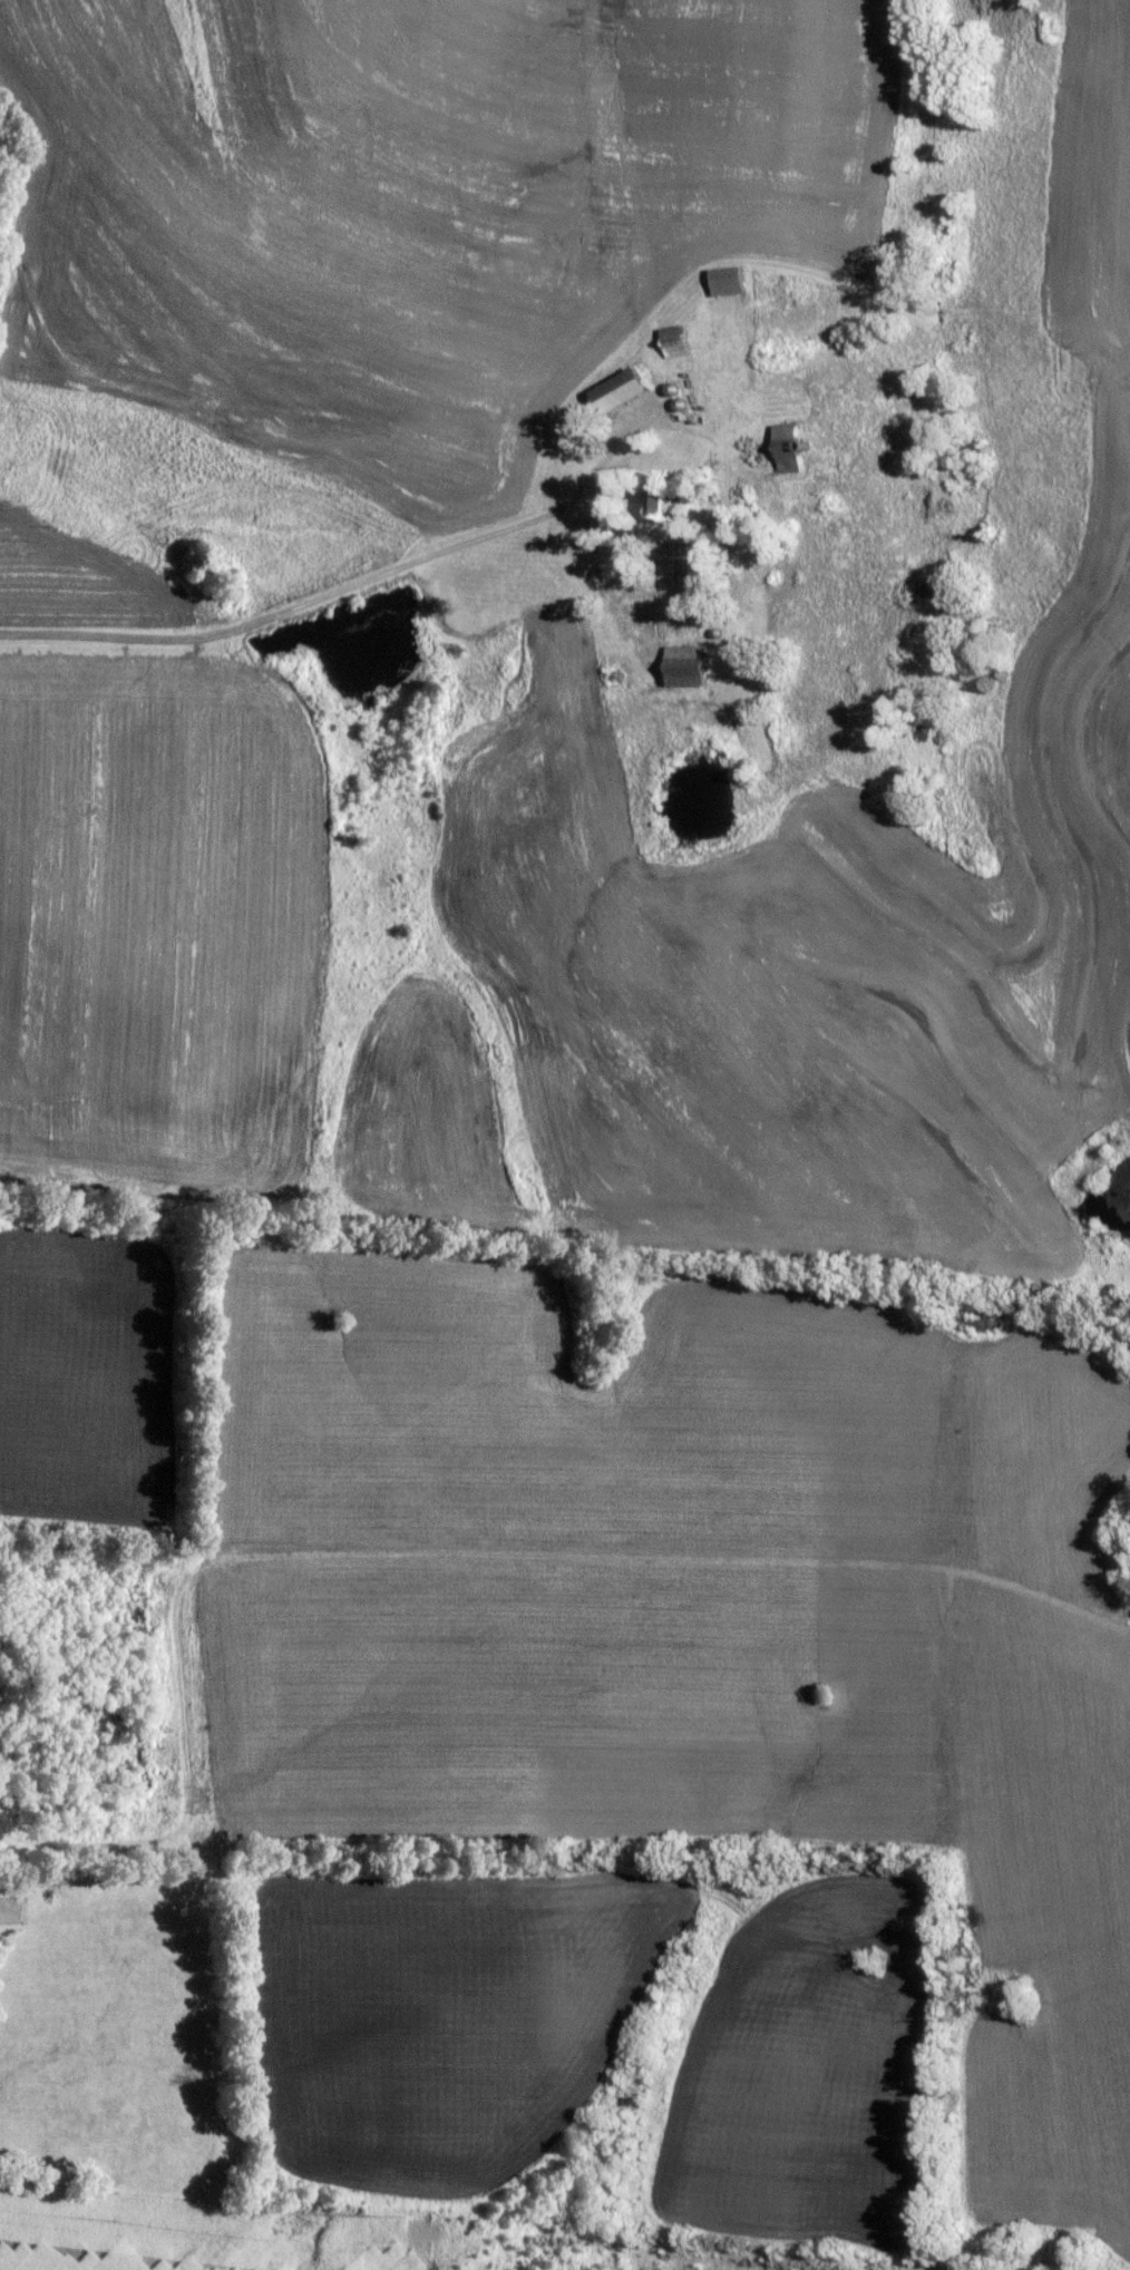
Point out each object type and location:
building: (727, 281)
building: (672, 341)
building: (622, 389)
building: (565, 435)
building: (783, 438)
building: (655, 498)
building: (602, 526)
road: (382, 571)
building: (683, 669)

